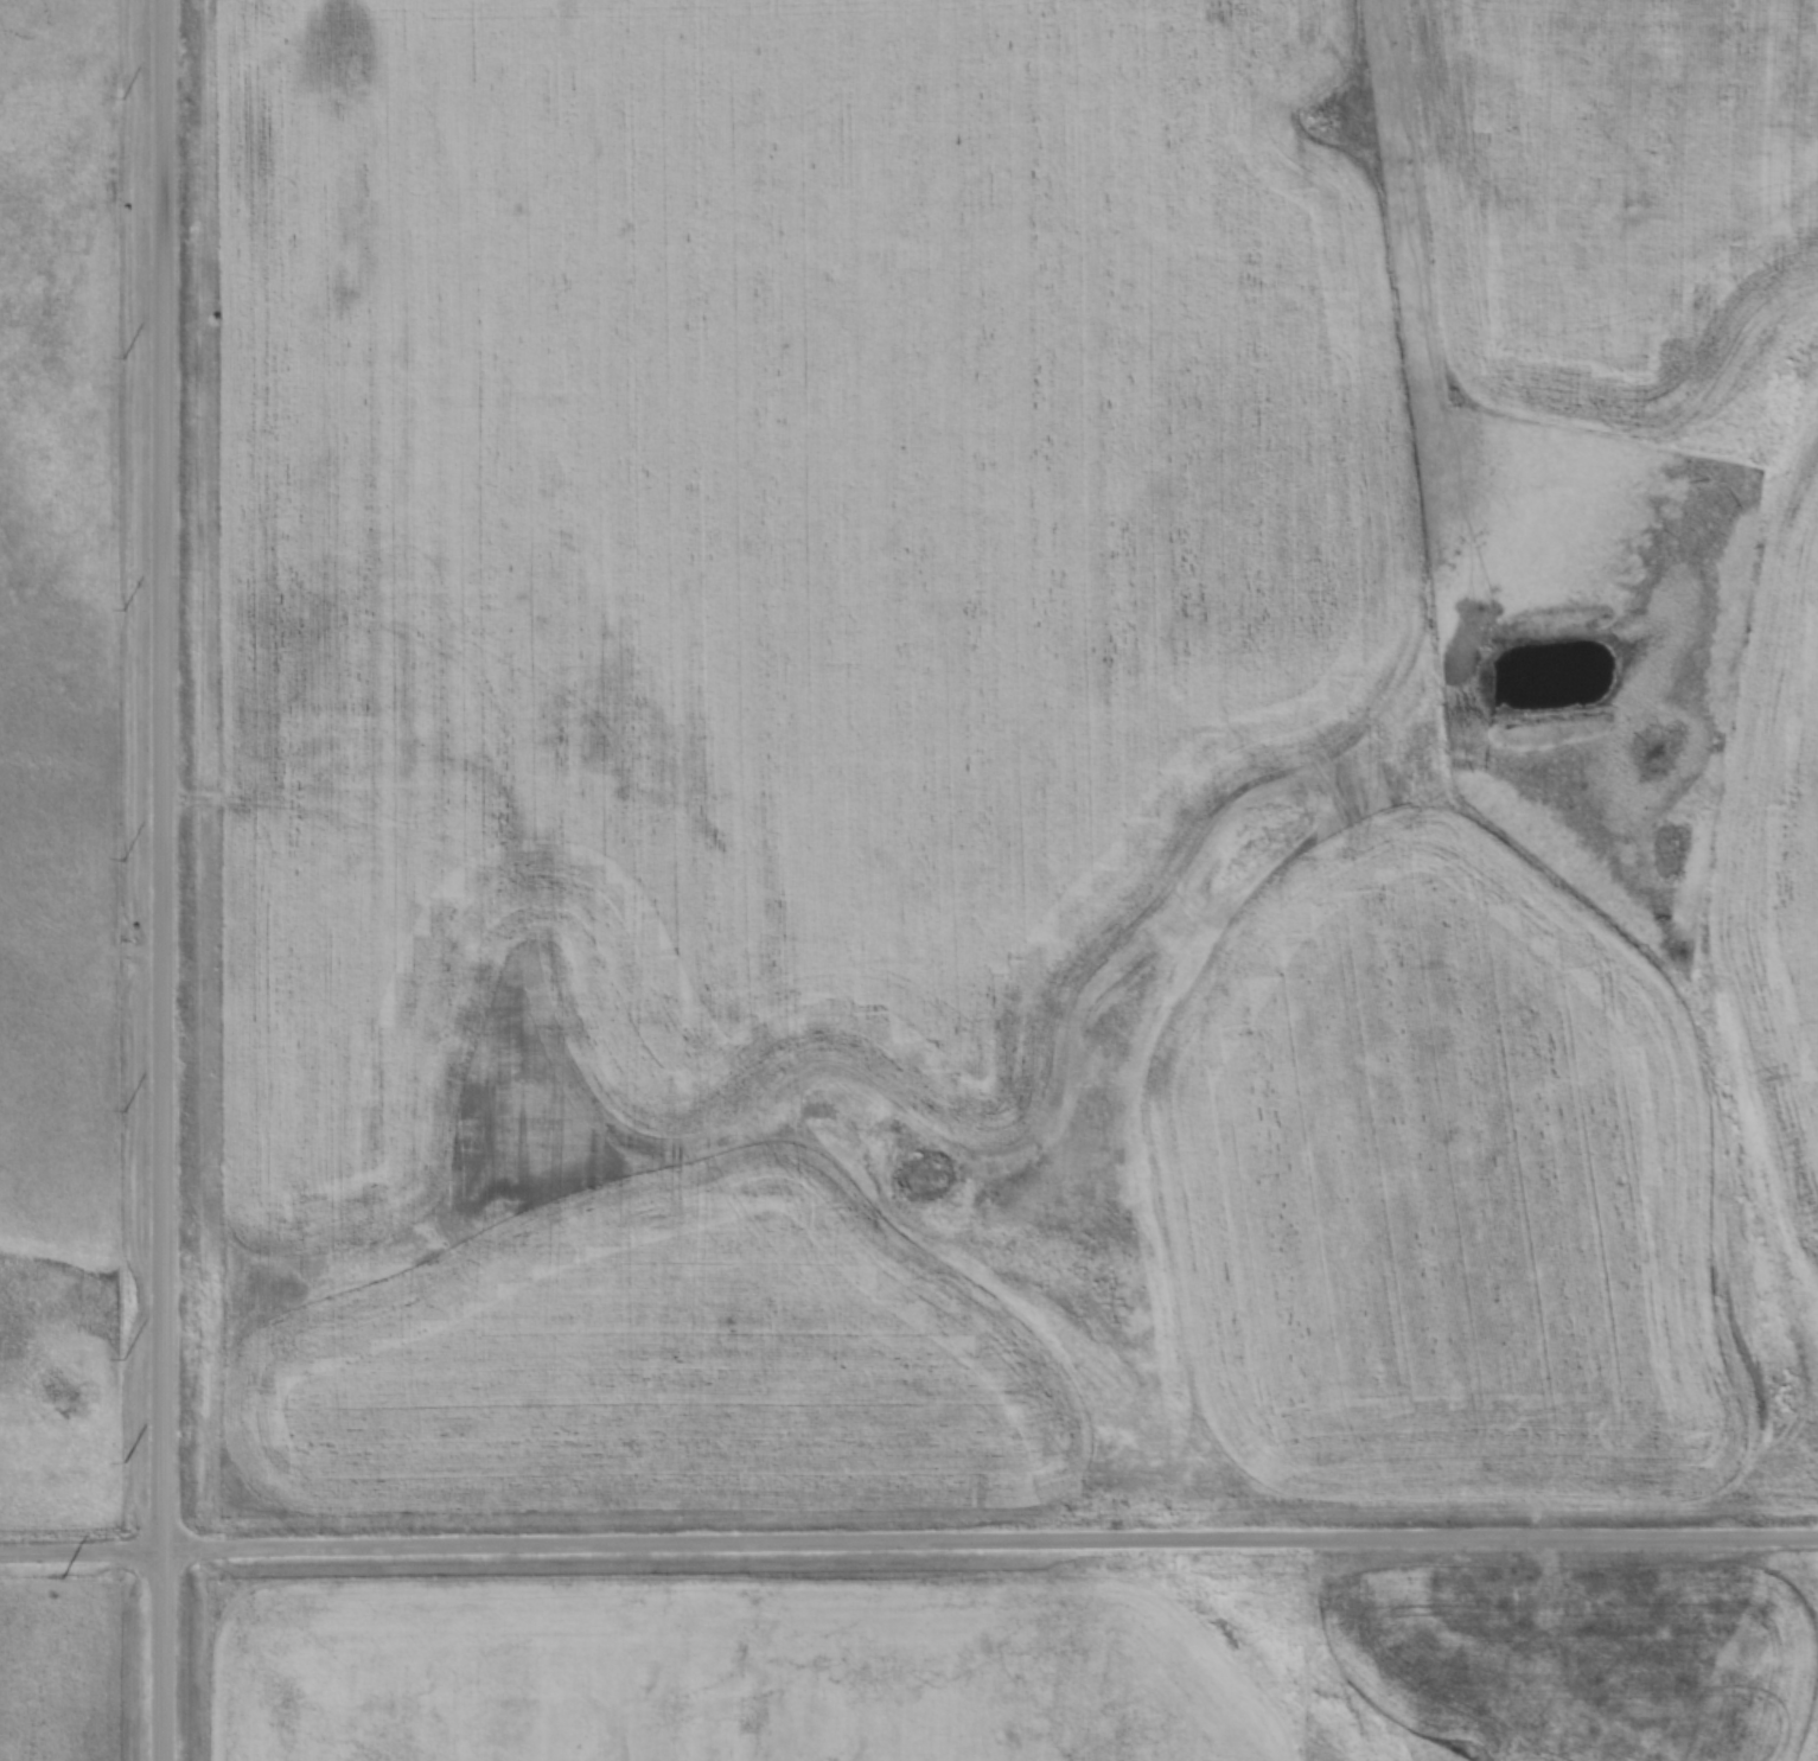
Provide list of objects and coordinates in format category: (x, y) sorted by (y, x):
road: (164, 880)
road: (908, 1545)

